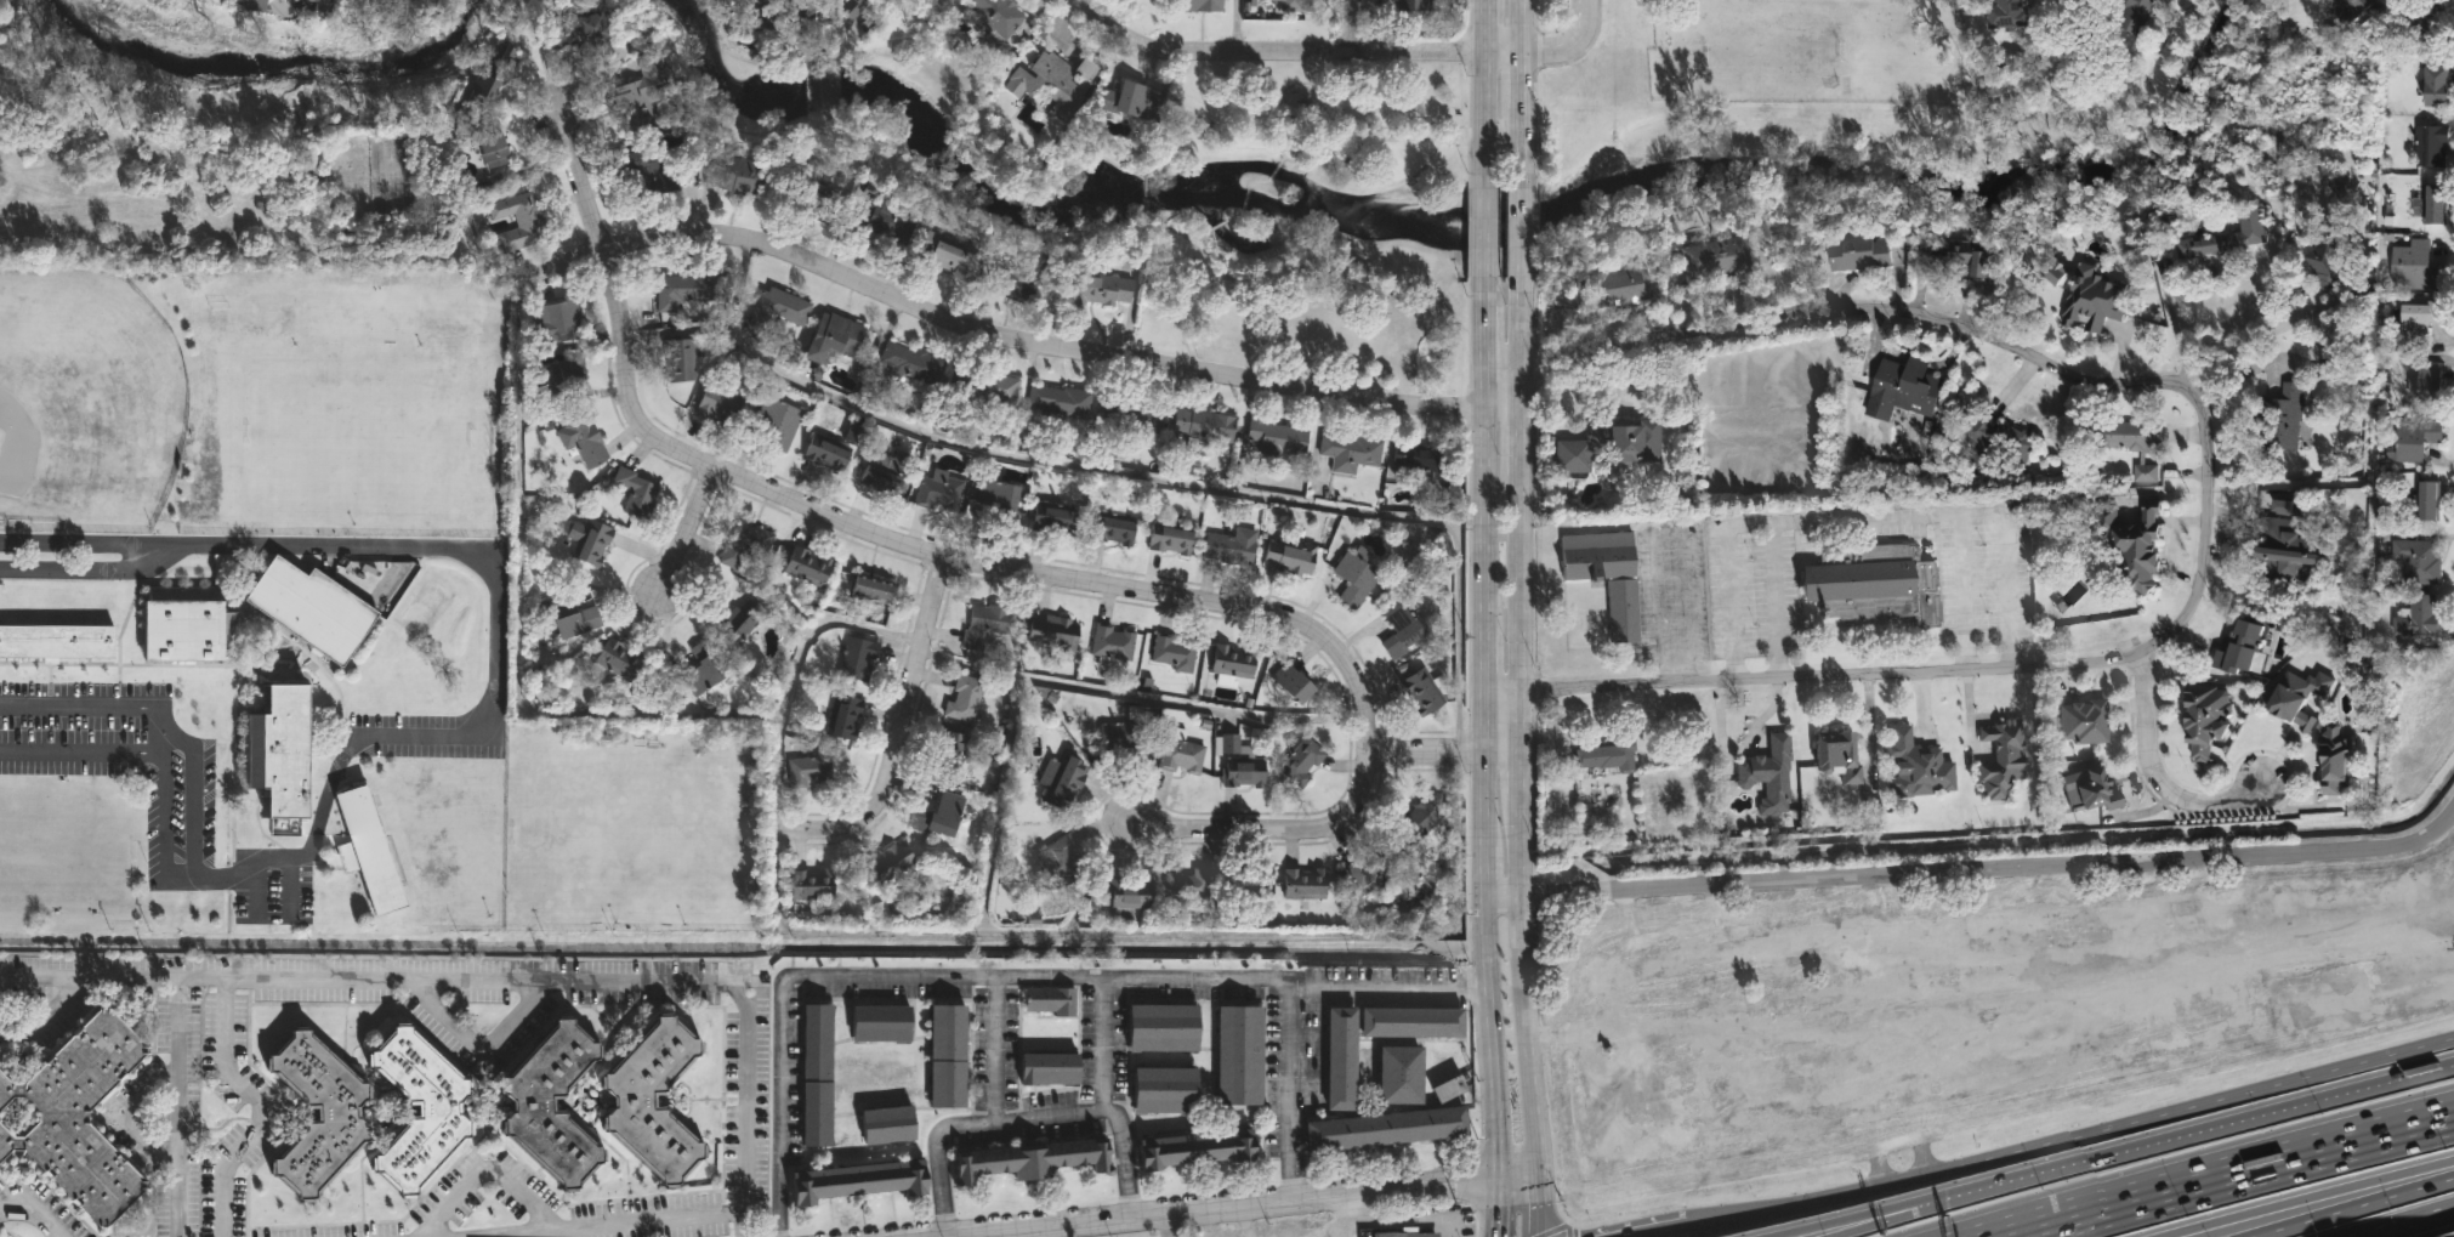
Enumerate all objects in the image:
building: (2168, 0)
building: (1291, 5)
building: (1390, 5)
building: (1195, 6)
building: (250, 7)
building: (853, 7)
building: (2352, 8)
building: (2007, 13)
building: (2138, 13)
building: (998, 17)
building: (2415, 19)
road: (1235, 25)
road: (1353, 25)
road: (1573, 44)
building: (2074, 51)
road: (1291, 52)
building: (1051, 81)
building: (2438, 85)
building: (641, 86)
road: (1484, 92)
road: (1526, 92)
building: (1129, 100)
road: (1313, 135)
building: (482, 137)
road: (1408, 137)
building: (2432, 144)
road: (1303, 161)
building: (640, 169)
road: (1277, 172)
road: (1163, 174)
building: (738, 176)
road: (1260, 185)
building: (813, 194)
road: (1245, 200)
building: (2437, 202)
building: (885, 217)
building: (516, 221)
road: (1240, 223)
building: (2227, 236)
road: (1481, 240)
road: (1528, 240)
road: (1226, 243)
road: (1198, 244)
building: (1858, 250)
building: (1962, 255)
building: (950, 259)
building: (1715, 259)
building: (2068, 261)
building: (2416, 266)
building: (2333, 267)
building: (1017, 278)
building: (1619, 286)
road: (734, 289)
building: (1100, 289)
building: (684, 291)
building: (2095, 301)
road: (1192, 307)
building: (777, 308)
road: (1869, 310)
building: (552, 319)
building: (2422, 320)
building: (833, 336)
road: (2244, 341)
building: (2334, 350)
road: (1057, 352)
building: (677, 359)
building: (908, 361)
building: (557, 380)
building: (2430, 381)
building: (1905, 387)
building: (995, 388)
building: (1060, 401)
park: (85, 403)
park: (336, 404)
building: (716, 405)
building: (1132, 414)
building: (2282, 416)
building: (772, 422)
building: (1204, 425)
building: (1277, 438)
building: (1995, 438)
building: (2418, 438)
building: (581, 442)
building: (2131, 442)
building: (1608, 444)
building: (833, 448)
building: (1350, 452)
building: (1418, 458)
road: (1038, 463)
building: (882, 472)
building: (939, 490)
building: (634, 493)
building: (2426, 499)
building: (994, 505)
road: (1966, 513)
building: (1051, 520)
road: (1750, 522)
road: (683, 527)
building: (1110, 529)
road: (879, 535)
building: (1170, 537)
building: (585, 539)
road: (85, 541)
building: (745, 544)
building: (2135, 544)
building: (1231, 546)
building: (2287, 552)
building: (1290, 556)
building: (2419, 560)
building: (806, 566)
road: (87, 571)
building: (1607, 575)
building: (1354, 577)
road: (516, 581)
building: (1873, 584)
building: (870, 589)
road: (1966, 591)
road: (1523, 595)
road: (1479, 596)
building: (307, 609)
building: (570, 617)
building: (2419, 617)
road: (1660, 619)
building: (183, 625)
building: (734, 626)
building: (982, 626)
building: (1399, 630)
building: (1055, 632)
building: (57, 642)
building: (1112, 645)
building: (2242, 647)
building: (1172, 654)
building: (856, 658)
building: (615, 662)
building: (1231, 663)
building: (701, 668)
road: (1924, 669)
road: (494, 671)
building: (1291, 683)
building: (1424, 690)
road: (788, 693)
road: (1137, 693)
building: (964, 698)
road: (899, 709)
building: (842, 716)
building: (2085, 722)
building: (2204, 722)
road: (161, 724)
building: (1121, 736)
road: (163, 745)
building: (949, 750)
road: (1500, 750)
building: (1180, 751)
road: (1422, 751)
building: (277, 753)
road: (159, 755)
building: (1608, 756)
building: (1839, 757)
building: (1301, 759)
building: (2003, 759)
building: (2336, 760)
building: (1239, 764)
building: (1916, 767)
building: (808, 770)
road: (2158, 771)
building: (1770, 774)
building: (1061, 783)
building: (2097, 791)
building: (939, 816)
building: (1416, 821)
road: (1273, 828)
park: (627, 841)
building: (363, 851)
building: (1060, 861)
road: (1995, 863)
building: (1368, 867)
building: (890, 868)
building: (1245, 878)
building: (1301, 884)
building: (810, 885)
building: (1186, 885)
road: (256, 890)
road: (288, 890)
road: (1501, 897)
building: (1126, 898)
road: (1479, 942)
road: (1013, 977)
road: (200, 980)
road: (576, 981)
road: (1385, 987)
building: (1050, 1001)
building: (2018, 1012)
road: (39, 1015)
road: (178, 1018)
building: (1411, 1023)
building: (879, 1025)
building: (1161, 1029)
road: (1530, 1035)
road: (478, 1044)
road: (1103, 1044)
building: (1238, 1056)
building: (945, 1057)
building: (1340, 1060)
building: (1046, 1071)
building: (814, 1077)
building: (1399, 1077)
road: (1489, 1082)
building: (1448, 1090)
building: (1163, 1091)
building: (1728, 1097)
building: (652, 1101)
building: (551, 1106)
building: (416, 1112)
road: (1109, 1112)
building: (316, 1116)
road: (130, 1118)
building: (74, 1119)
road: (985, 1123)
building: (885, 1127)
building: (1385, 1130)
road: (2185, 1134)
road: (2040, 1145)
building: (1194, 1151)
building: (1029, 1162)
road: (484, 1170)
road: (2237, 1170)
road: (1517, 1176)
building: (856, 1184)
road: (2308, 1197)
road: (1540, 1205)
road: (2351, 1205)
road: (1263, 1207)
road: (1495, 1207)
road: (32, 1210)
road: (1837, 1220)
road: (1873, 1221)
road: (2404, 1221)
road: (740, 1224)
road: (1166, 1227)
road: (1680, 1230)
building: (1410, 1233)
road: (479, 1236)
road: (489, 1236)

